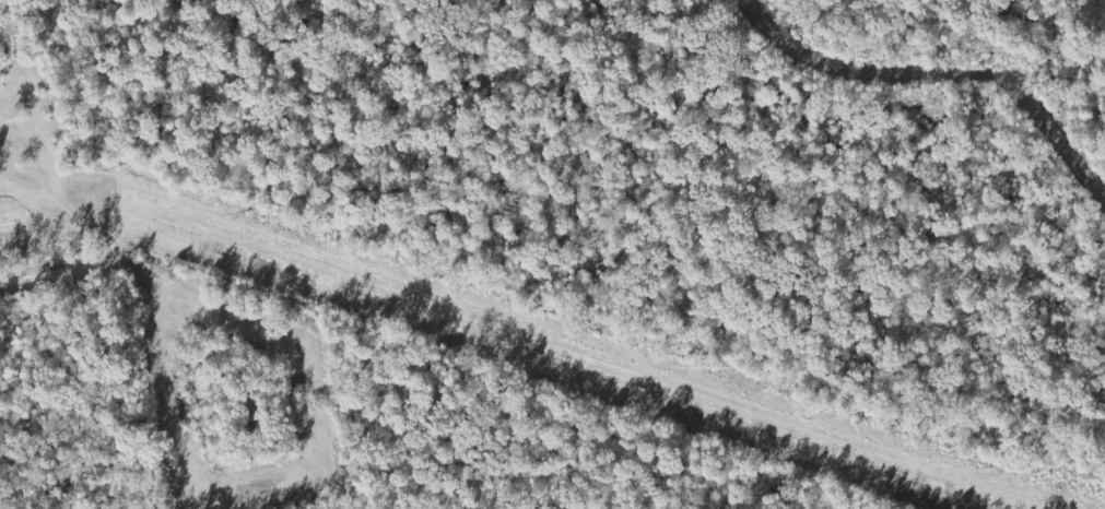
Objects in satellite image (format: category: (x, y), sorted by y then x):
road: (57, 272)

